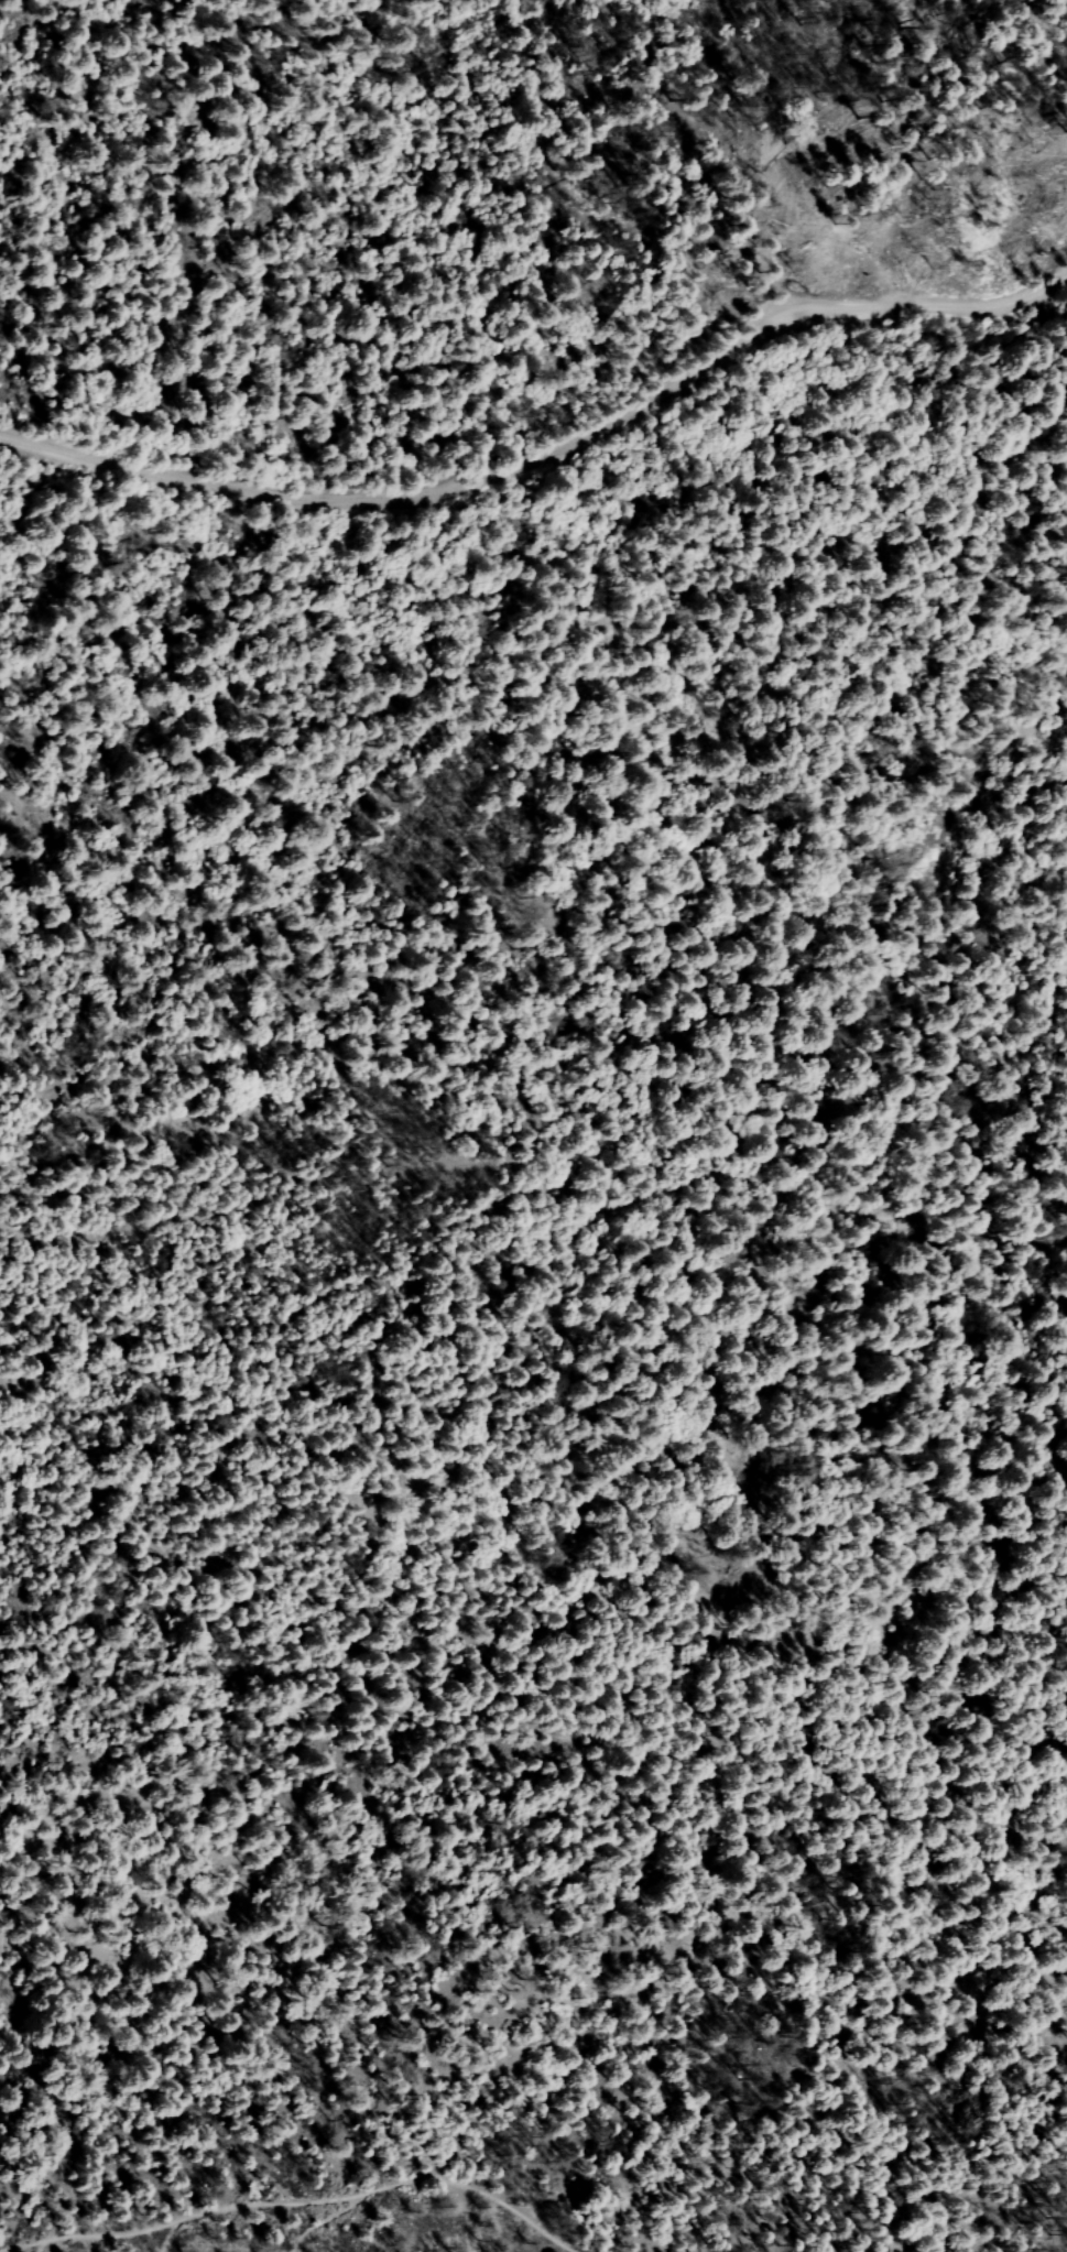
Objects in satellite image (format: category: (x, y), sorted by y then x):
road: (549, 467)

